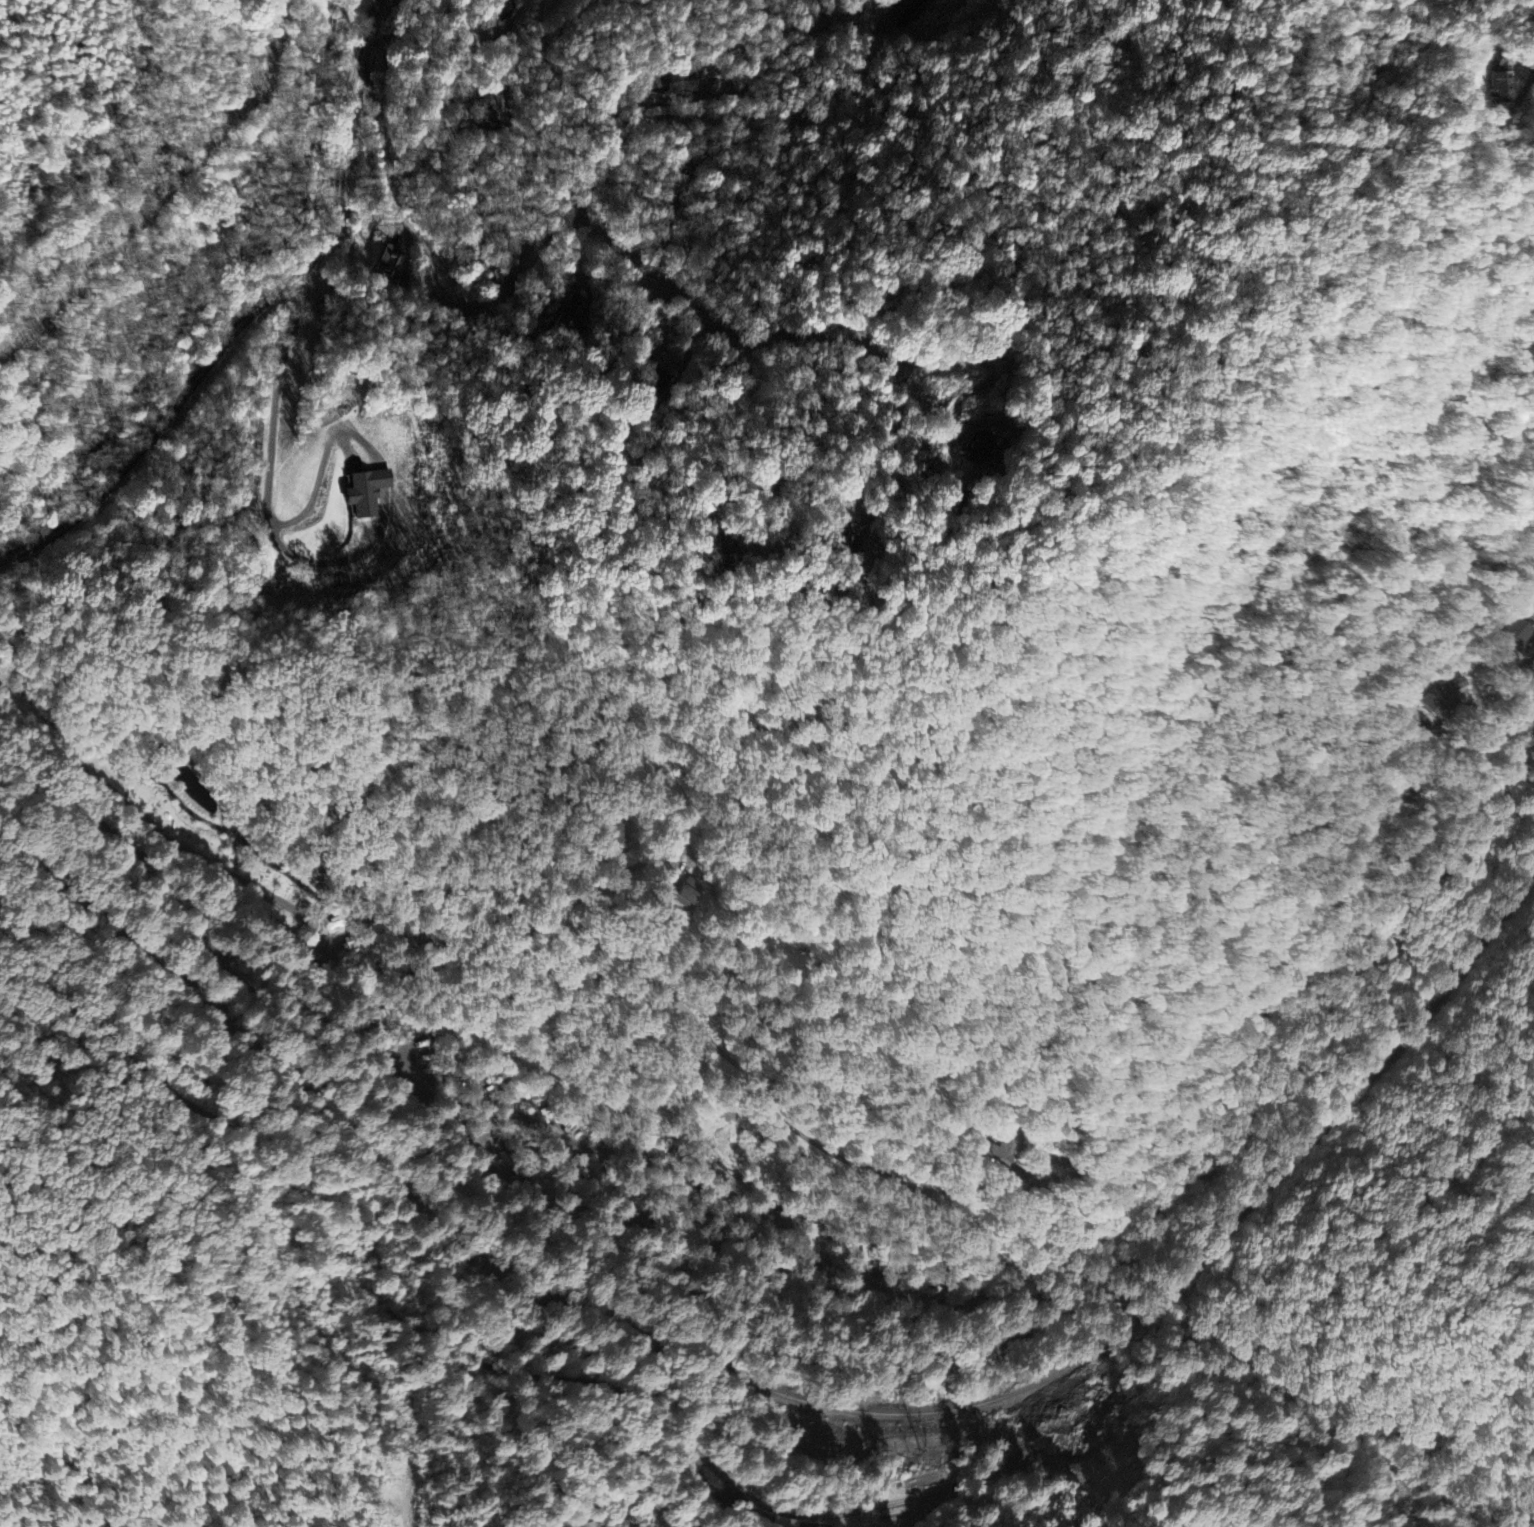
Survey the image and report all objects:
building: (905, 12)
road: (348, 111)
road: (178, 406)
road: (653, 444)
building: (978, 449)
building: (364, 493)
road: (1028, 1225)
road: (272, 1240)
road: (362, 1287)
railway: (788, 1395)

